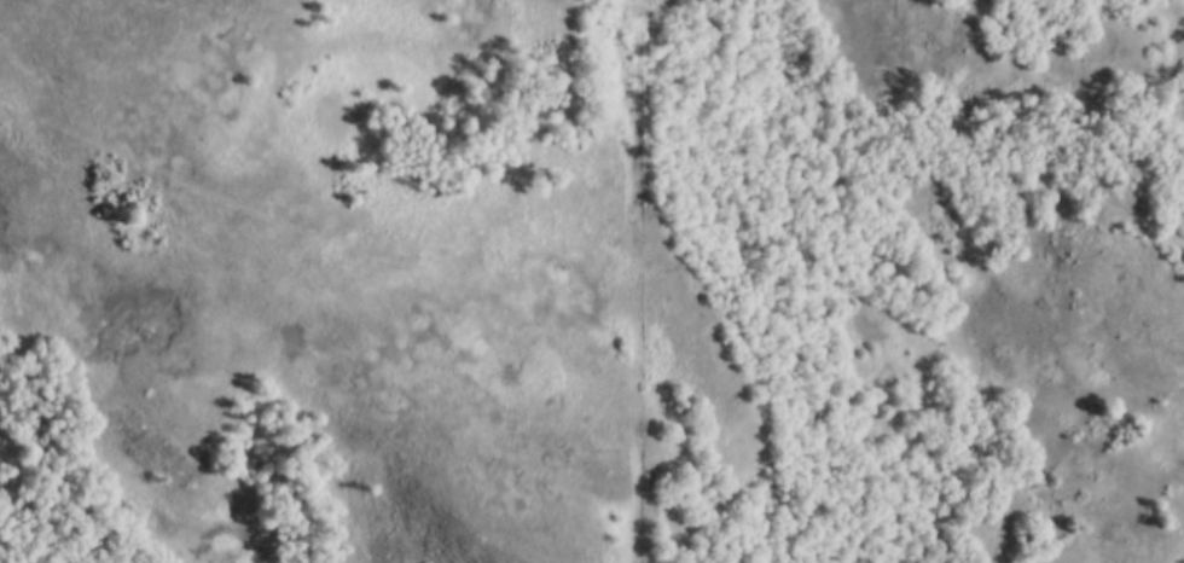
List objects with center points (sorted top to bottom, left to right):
road: (637, 281)

